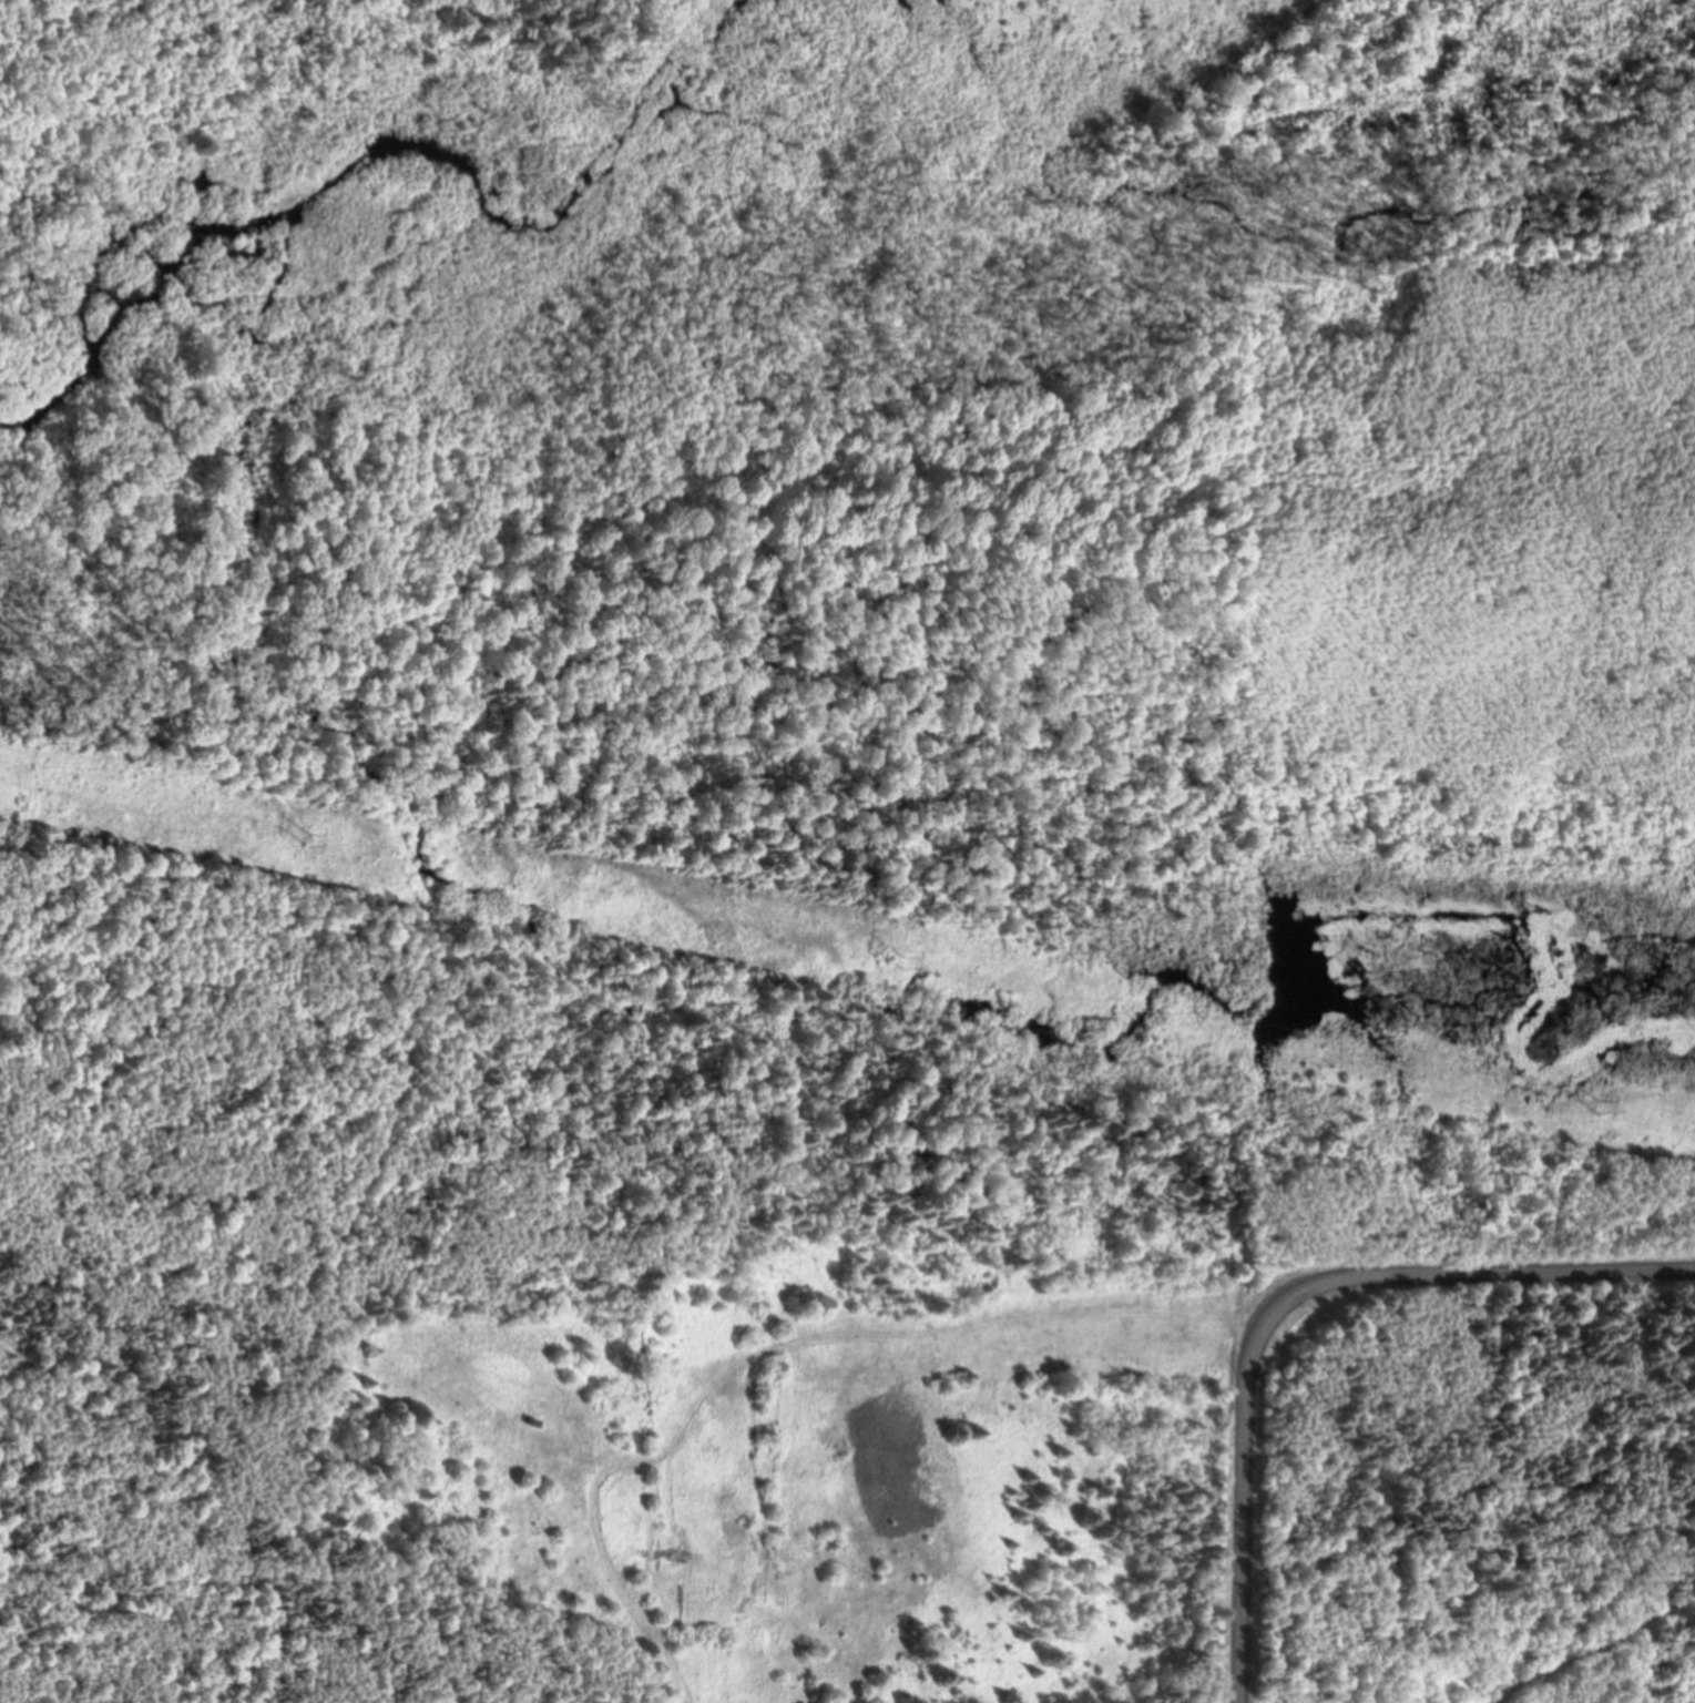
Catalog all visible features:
road: (1284, 1297)

